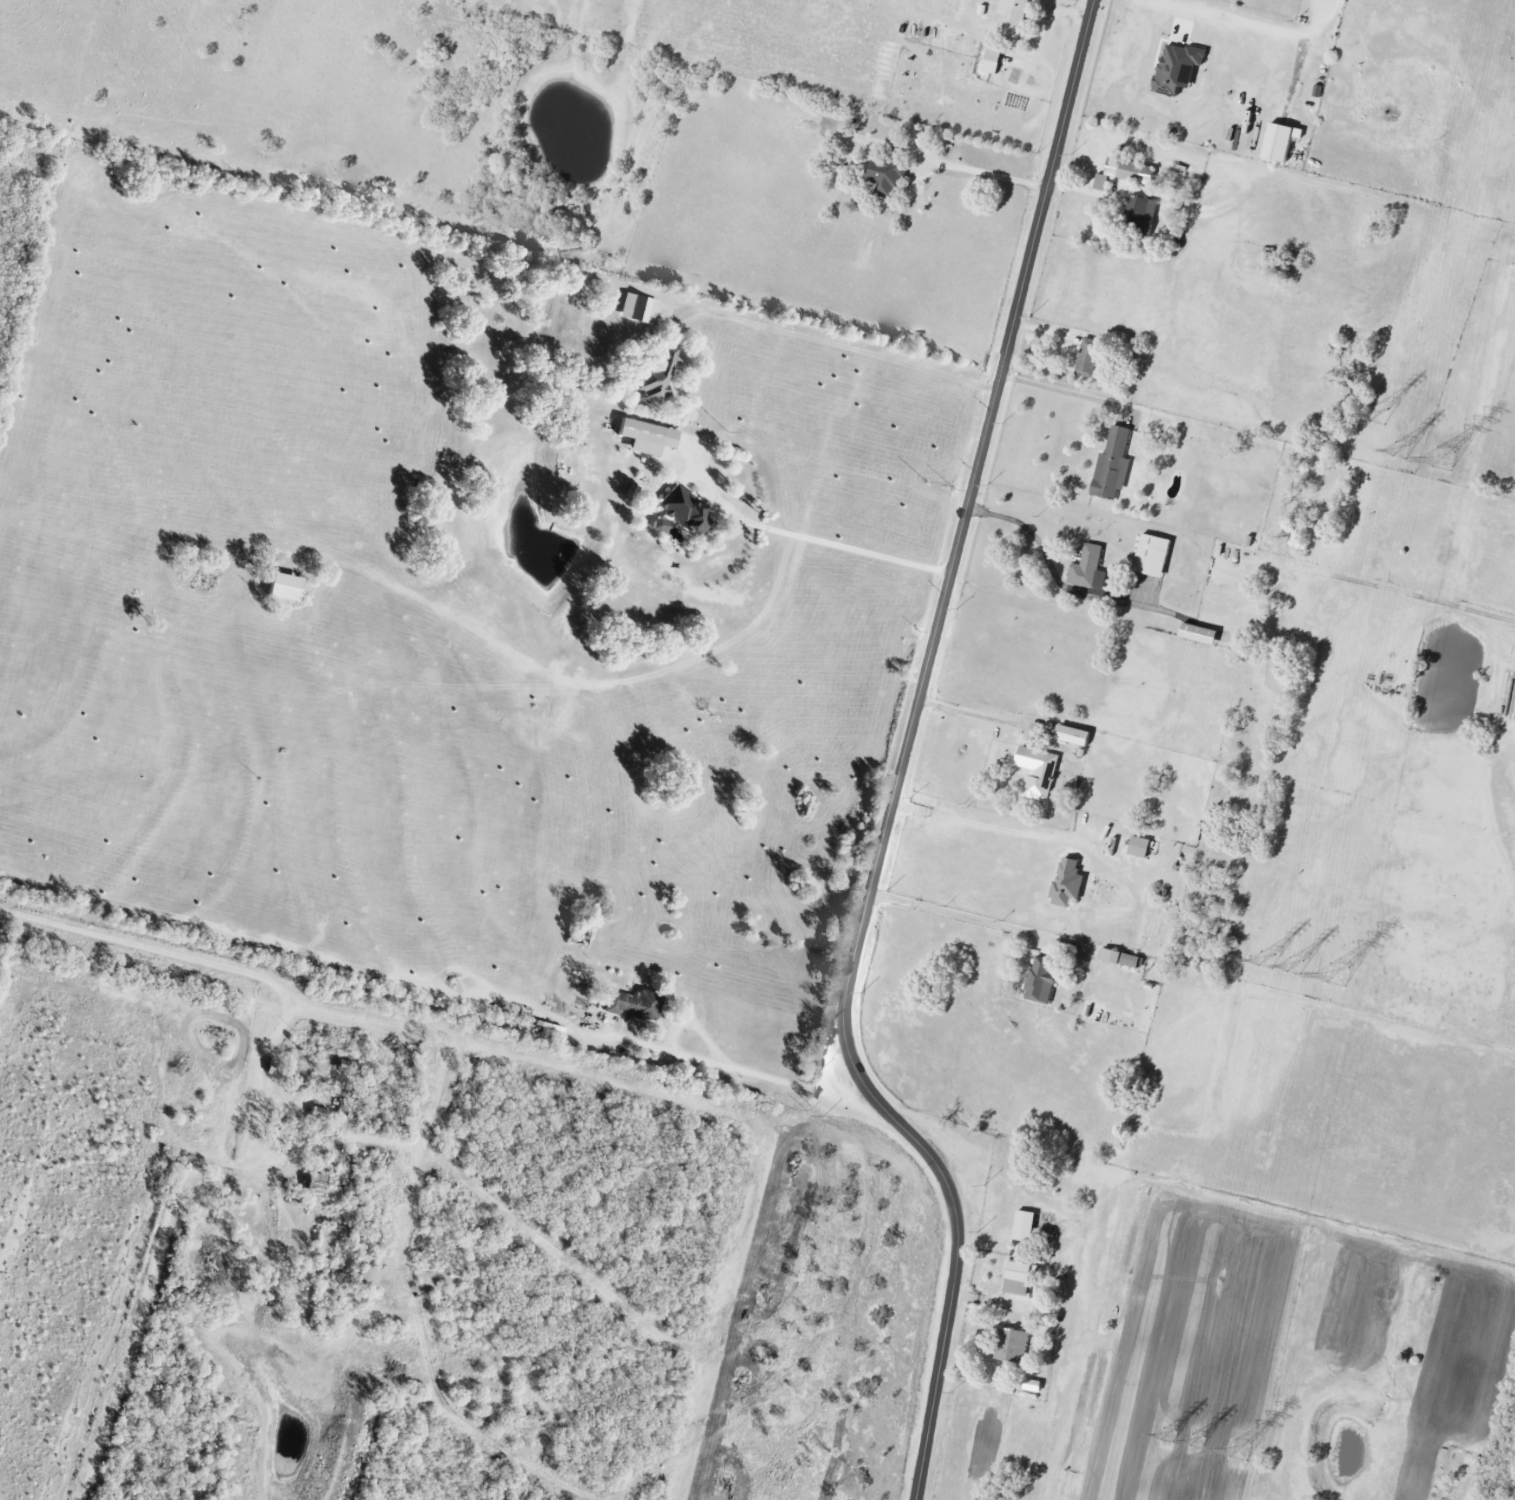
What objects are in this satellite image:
building: (1013, 17)
road: (1245, 19)
building: (993, 62)
building: (1179, 69)
building: (1281, 143)
road: (989, 172)
building: (1126, 174)
building: (887, 176)
building: (1141, 212)
building: (639, 309)
road: (844, 348)
building: (1088, 358)
building: (657, 378)
road: (1069, 394)
power tower: (1380, 416)
building: (646, 437)
power tower: (1402, 452)
power tower: (1445, 460)
building: (1113, 465)
building: (685, 511)
building: (659, 526)
road: (824, 539)
building: (1153, 556)
road: (1051, 568)
building: (1089, 569)
building: (285, 588)
building: (1200, 635)
road: (975, 712)
building: (1075, 736)
road: (903, 761)
building: (1040, 772)
road: (983, 822)
building: (1140, 847)
building: (1069, 884)
road: (975, 917)
building: (1121, 959)
power tower: (1268, 962)
power tower: (1297, 968)
power tower: (1335, 976)
building: (1041, 982)
building: (633, 1004)
road: (741, 1071)
building: (1025, 1226)
building: (1019, 1279)
building: (1013, 1345)
power tower: (1169, 1437)
power tower: (1198, 1444)
power tower: (1239, 1454)

